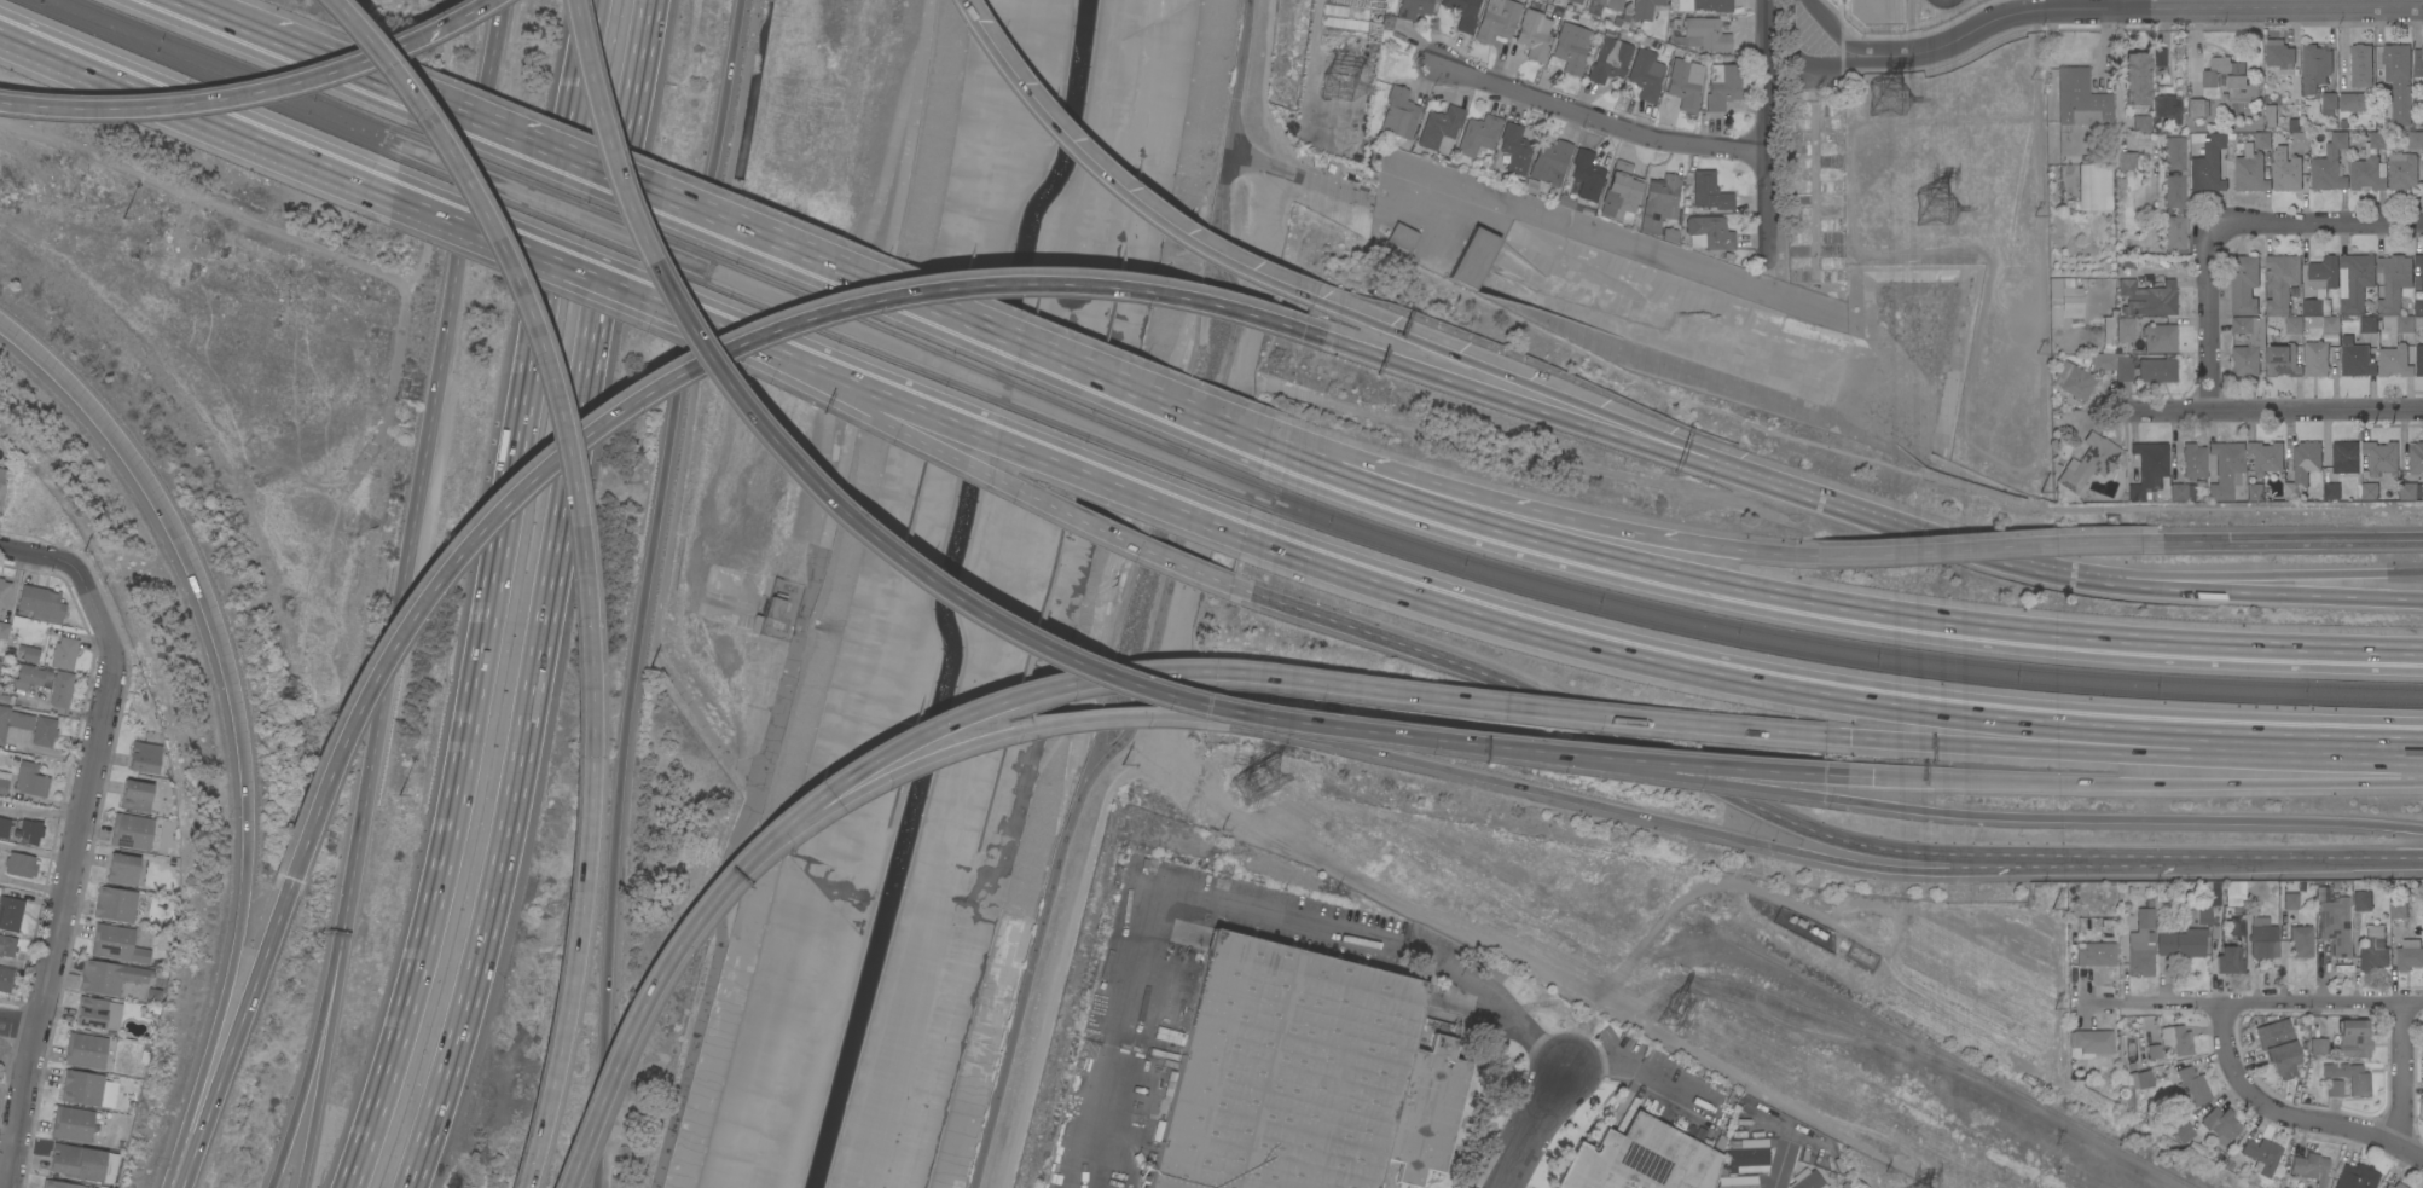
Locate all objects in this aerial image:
building: (1575, 1)
road: (2125, 2)
building: (1606, 4)
building: (1712, 5)
road: (2088, 6)
building: (1413, 8)
building: (1644, 8)
building: (1337, 10)
building: (1462, 13)
building: (1496, 19)
building: (1622, 21)
road: (219, 22)
building: (1703, 34)
building: (1534, 35)
building: (1571, 47)
building: (2279, 54)
building: (2160, 56)
building: (1610, 60)
railway: (234, 63)
building: (2418, 63)
building: (2314, 66)
building: (2225, 73)
building: (1646, 75)
road: (355, 76)
railway: (204, 77)
building: (2135, 80)
building: (2358, 80)
building: (2398, 81)
building: (1685, 83)
power tower: (1341, 86)
building: (1722, 86)
road: (1264, 87)
road: (251, 92)
power tower: (1885, 97)
building: (2224, 97)
building: (2081, 99)
building: (2328, 103)
building: (2167, 108)
building: (2198, 108)
road: (193, 112)
road: (2121, 112)
building: (1399, 114)
building: (2270, 116)
road: (1606, 118)
building: (2140, 123)
building: (2422, 123)
building: (2343, 124)
building: (2292, 126)
building: (1439, 127)
road: (1766, 127)
building: (1478, 134)
road: (508, 137)
building: (2261, 140)
building: (2416, 140)
building: (1512, 151)
building: (2127, 161)
building: (1550, 162)
building: (2208, 164)
building: (2290, 164)
building: (2329, 166)
building: (2369, 166)
building: (2250, 172)
building: (2401, 172)
building: (1584, 176)
building: (2175, 185)
building: (2094, 186)
building: (1619, 190)
building: (1709, 191)
road: (1126, 197)
building: (1659, 203)
building: (1572, 205)
power tower: (1940, 209)
road: (2315, 222)
building: (1708, 233)
building: (2175, 233)
building: (1668, 234)
building: (1403, 237)
road: (509, 244)
road: (1642, 248)
building: (1473, 257)
building: (2422, 279)
building: (2282, 282)
building: (2357, 282)
road: (866, 284)
building: (2243, 284)
building: (2320, 285)
building: (2395, 289)
building: (2149, 297)
building: (2071, 302)
railway: (828, 306)
building: (2418, 307)
road: (2205, 317)
building: (2366, 324)
building: (2294, 325)
building: (2330, 325)
railway: (822, 329)
building: (2123, 330)
building: (2160, 337)
building: (2248, 346)
building: (2417, 358)
building: (2315, 359)
building: (2283, 361)
building: (2357, 361)
building: (2394, 361)
building: (2114, 365)
building: (2156, 370)
road: (673, 375)
building: (2074, 379)
road: (66, 382)
road: (1586, 405)
road: (2274, 408)
road: (937, 415)
road: (1217, 417)
road: (1565, 417)
road: (1217, 428)
road: (929, 446)
road: (1316, 446)
building: (2266, 457)
building: (2344, 457)
building: (2416, 457)
building: (2195, 459)
building: (2086, 466)
building: (2302, 466)
building: (2149, 468)
building: (2226, 468)
road: (427, 471)
building: (2373, 471)
building: (1, 488)
building: (2178, 492)
building: (2254, 492)
building: (2331, 492)
road: (1565, 517)
road: (1959, 539)
road: (2307, 539)
road: (1984, 546)
road: (36, 558)
road: (894, 562)
road: (576, 563)
road: (2266, 574)
road: (643, 591)
road: (2265, 591)
building: (4, 593)
river: (944, 593)
road: (492, 598)
road: (546, 598)
building: (40, 601)
road: (1161, 605)
building: (773, 607)
road: (1838, 613)
building: (4, 631)
railway: (1832, 642)
building: (29, 651)
building: (64, 654)
road: (221, 656)
railway: (1830, 656)
building: (0, 662)
road: (1285, 679)
building: (45, 683)
road: (1822, 694)
building: (12, 700)
building: (13, 722)
road: (1607, 730)
building: (44, 731)
road: (963, 743)
road: (2147, 752)
building: (145, 758)
road: (1702, 763)
building: (30, 781)
building: (4, 782)
road: (2150, 782)
road: (1734, 784)
power tower: (1259, 786)
road: (83, 793)
building: (137, 795)
road: (1594, 805)
road: (41, 813)
road: (2184, 818)
building: (5, 827)
building: (29, 831)
building: (132, 831)
road: (35, 850)
road: (2301, 862)
building: (21, 865)
road: (2079, 865)
building: (122, 869)
building: (2257, 889)
building: (2231, 893)
building: (2290, 900)
building: (2361, 900)
building: (115, 904)
road: (1233, 906)
building: (2398, 909)
building: (10, 912)
building: (2207, 920)
building: (2335, 925)
building: (2237, 927)
building: (2262, 939)
building: (2301, 940)
building: (121, 943)
building: (2183, 943)
building: (7, 945)
building: (2141, 945)
building: (2373, 949)
building: (2097, 954)
building: (2408, 955)
building: (2227, 961)
building: (2103, 975)
building: (110, 977)
building: (5, 979)
road: (2277, 1003)
power tower: (1674, 1009)
building: (99, 1013)
road: (636, 1015)
building: (2080, 1022)
road: (18, 1024)
railway: (1854, 1027)
road: (211, 1037)
building: (2176, 1039)
building: (2352, 1039)
road: (231, 1042)
building: (2089, 1042)
building: (2278, 1047)
building: (2318, 1047)
building: (85, 1050)
building: (2154, 1051)
building: (2132, 1059)
road: (319, 1065)
railway: (1965, 1065)
road: (307, 1066)
road: (1636, 1070)
building: (1304, 1076)
road: (2405, 1078)
building: (2358, 1080)
building: (2193, 1085)
building: (2133, 1086)
building: (82, 1088)
building: (2334, 1088)
road: (22, 1107)
road: (2288, 1115)
building: (2220, 1123)
building: (73, 1124)
road: (1537, 1125)
building: (2183, 1132)
building: (2262, 1154)
building: (1749, 1155)
building: (1640, 1160)
building: (76, 1161)
road: (1781, 1166)
building: (2308, 1167)
building: (2355, 1176)
building: (1807, 1180)
building: (1740, 1182)
building: (59, 1184)
building: (2395, 1186)

